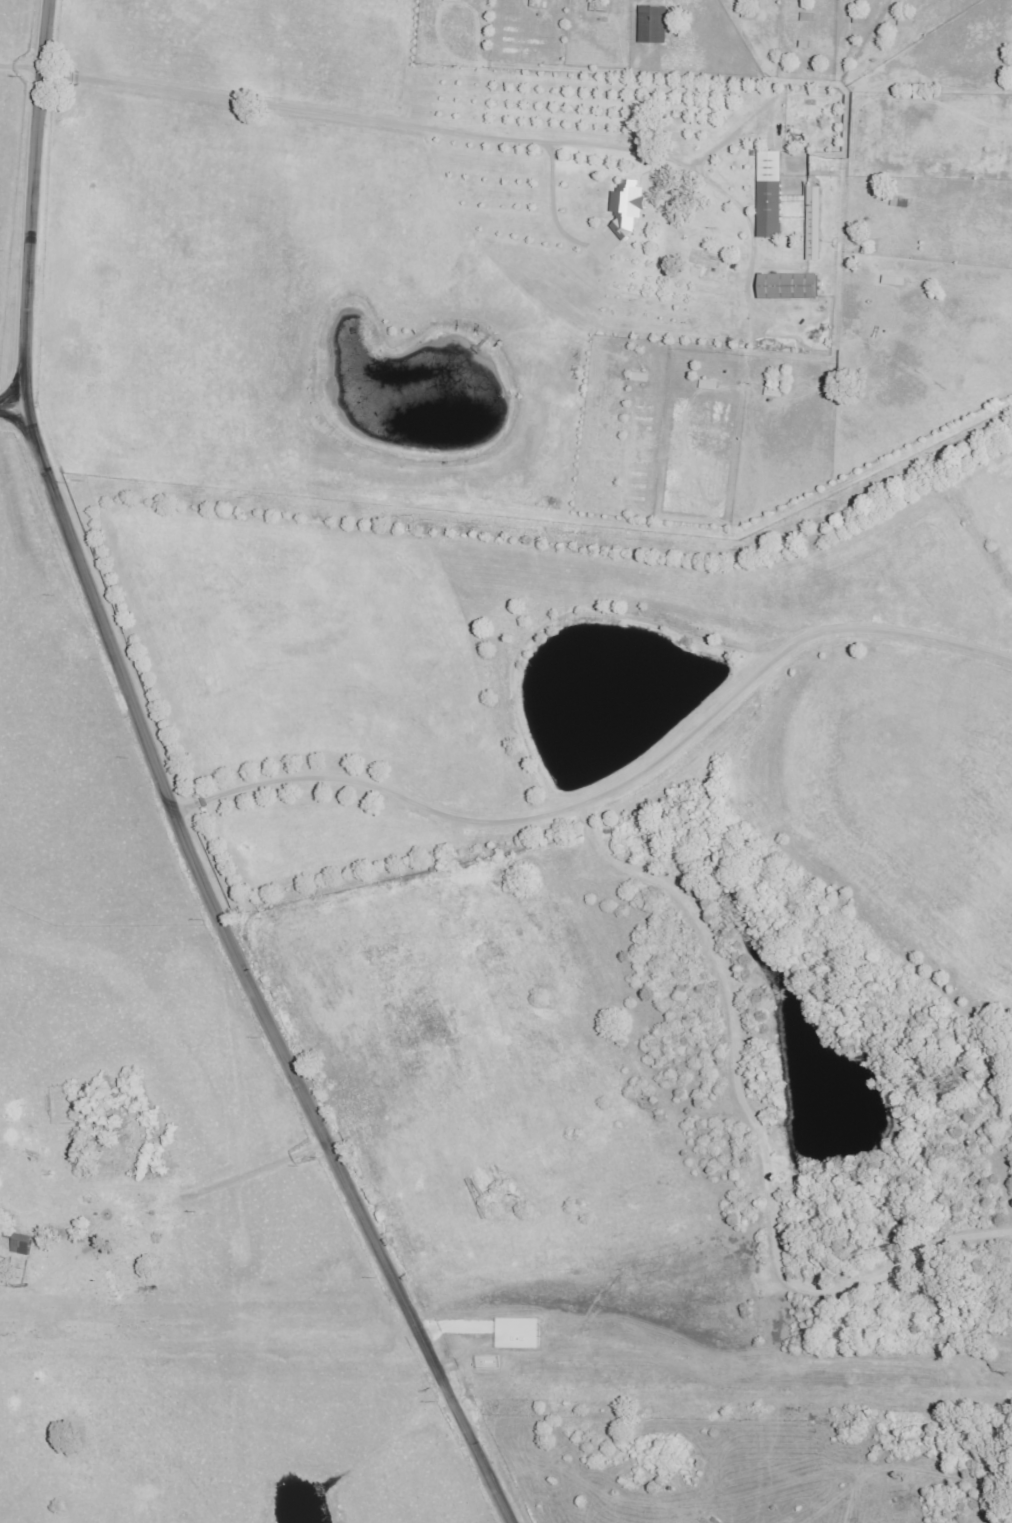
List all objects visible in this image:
building: (652, 25)
building: (770, 195)
building: (627, 208)
building: (814, 224)
building: (788, 287)
building: (640, 377)
building: (774, 393)
road: (13, 409)
road: (164, 787)
building: (21, 1245)

